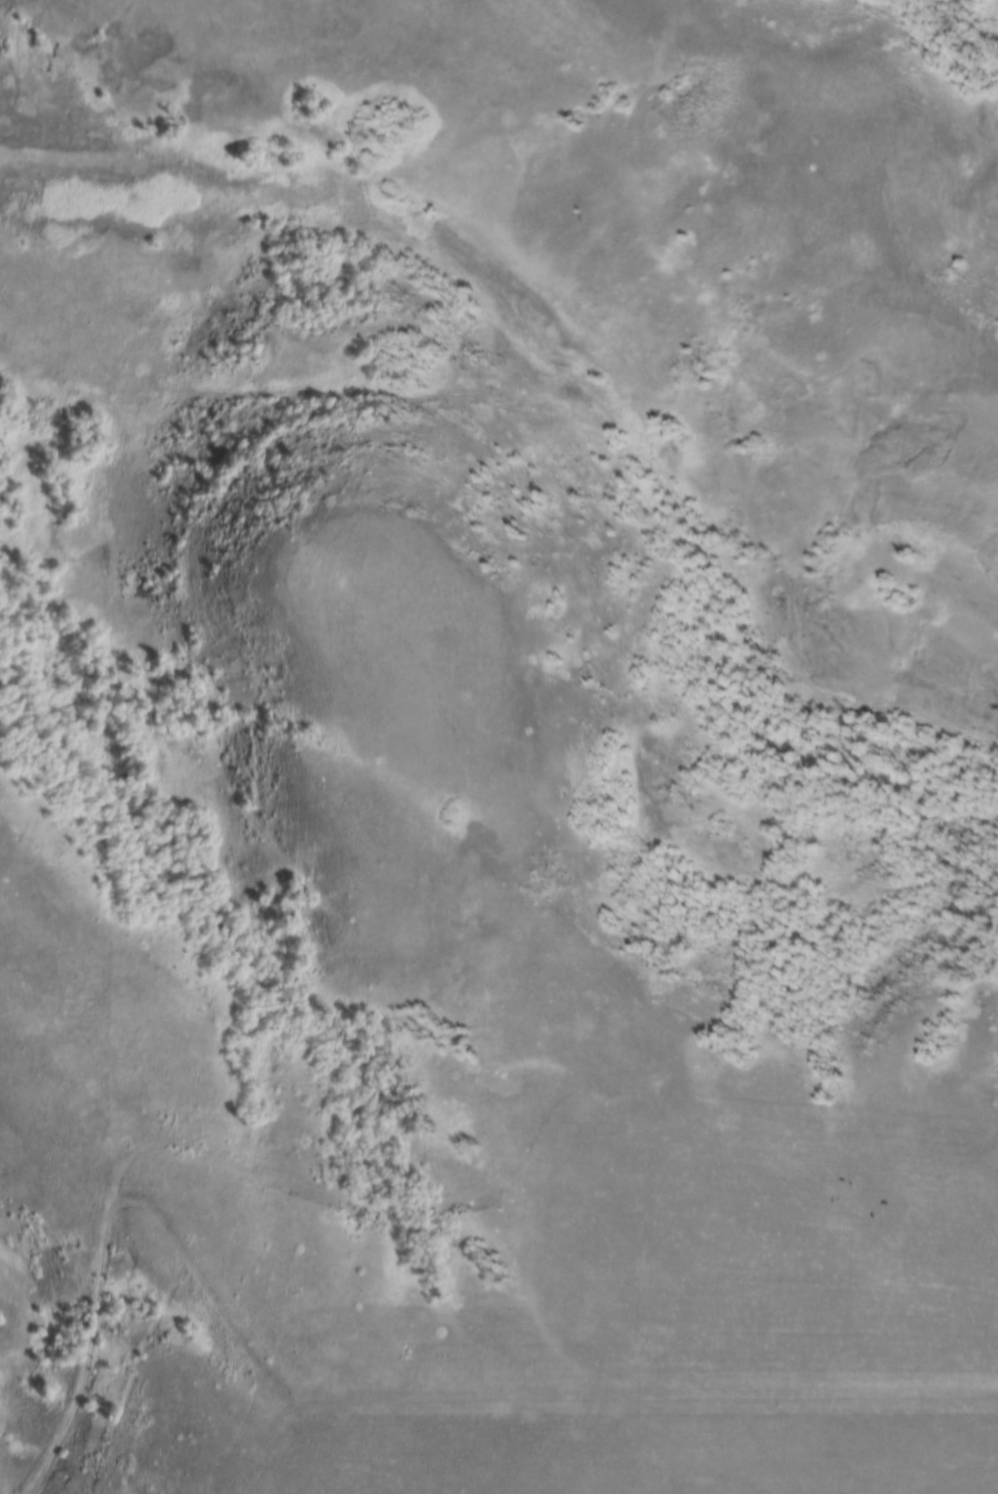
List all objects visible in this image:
road: (357, 1397)

